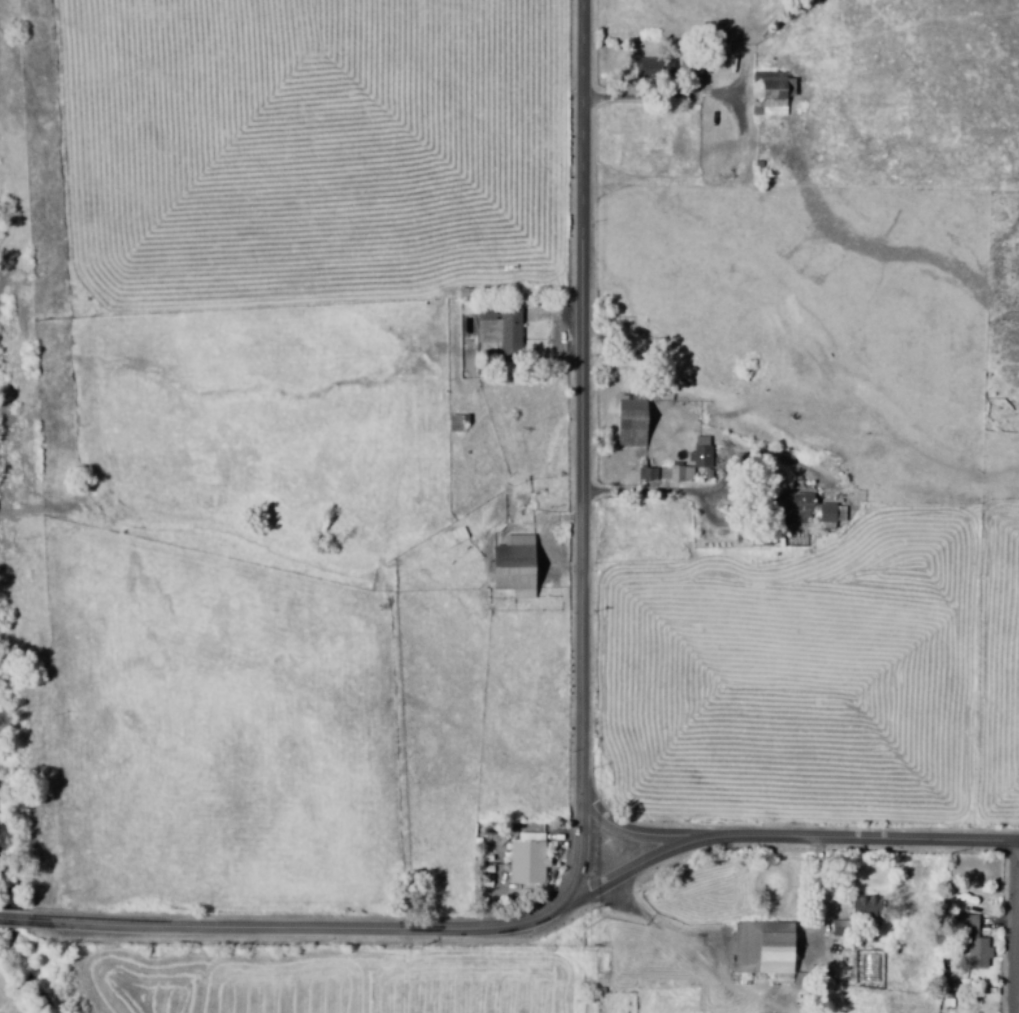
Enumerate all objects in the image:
building: (656, 68)
building: (771, 93)
building: (502, 329)
building: (635, 423)
building: (702, 453)
building: (675, 473)
building: (648, 474)
building: (800, 503)
building: (829, 516)
building: (518, 566)
road: (585, 739)
road: (645, 837)
road: (787, 837)
building: (529, 858)
building: (870, 906)
building: (976, 943)
building: (768, 948)
road: (1017, 961)

